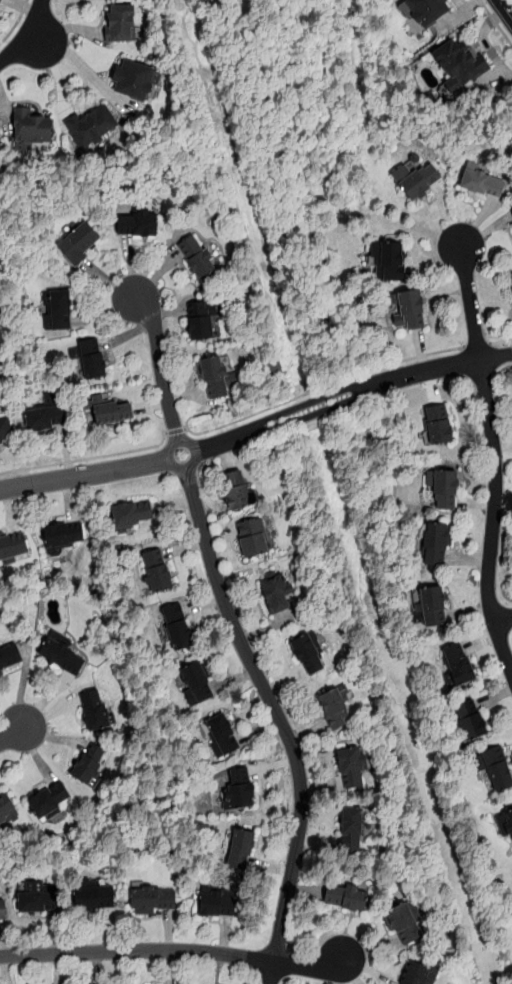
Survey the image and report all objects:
building: (206, 0)
building: (1, 1)
building: (214, 1)
road: (504, 9)
building: (423, 12)
road: (14, 22)
road: (496, 22)
building: (123, 27)
road: (26, 35)
road: (34, 40)
building: (459, 65)
road: (90, 72)
building: (137, 82)
building: (95, 128)
building: (35, 130)
building: (1, 147)
building: (413, 181)
building: (481, 185)
building: (511, 211)
building: (140, 223)
building: (82, 244)
building: (199, 258)
building: (388, 264)
building: (511, 275)
road: (468, 289)
building: (60, 310)
building: (409, 312)
building: (204, 322)
road: (502, 341)
road: (478, 345)
road: (477, 347)
road: (508, 353)
road: (481, 358)
building: (96, 362)
road: (502, 368)
road: (160, 369)
road: (482, 373)
building: (219, 379)
road: (324, 388)
road: (325, 403)
building: (46, 414)
building: (116, 414)
building: (434, 426)
road: (176, 430)
building: (6, 431)
road: (85, 458)
road: (192, 465)
road: (83, 474)
building: (445, 490)
building: (236, 493)
building: (130, 516)
road: (490, 533)
building: (66, 536)
building: (252, 536)
building: (435, 544)
building: (13, 549)
building: (157, 570)
building: (276, 590)
building: (432, 607)
road: (502, 621)
building: (177, 626)
building: (60, 653)
building: (307, 653)
building: (9, 655)
building: (457, 665)
building: (448, 678)
building: (198, 681)
building: (332, 707)
building: (94, 709)
building: (469, 719)
road: (280, 720)
building: (222, 732)
road: (12, 734)
building: (351, 764)
building: (90, 765)
building: (495, 769)
building: (241, 787)
building: (49, 799)
building: (7, 809)
building: (508, 822)
building: (352, 827)
building: (0, 831)
building: (240, 848)
building: (93, 896)
building: (347, 897)
building: (40, 898)
building: (152, 898)
building: (217, 903)
building: (3, 908)
building: (404, 920)
road: (172, 950)
building: (418, 973)

